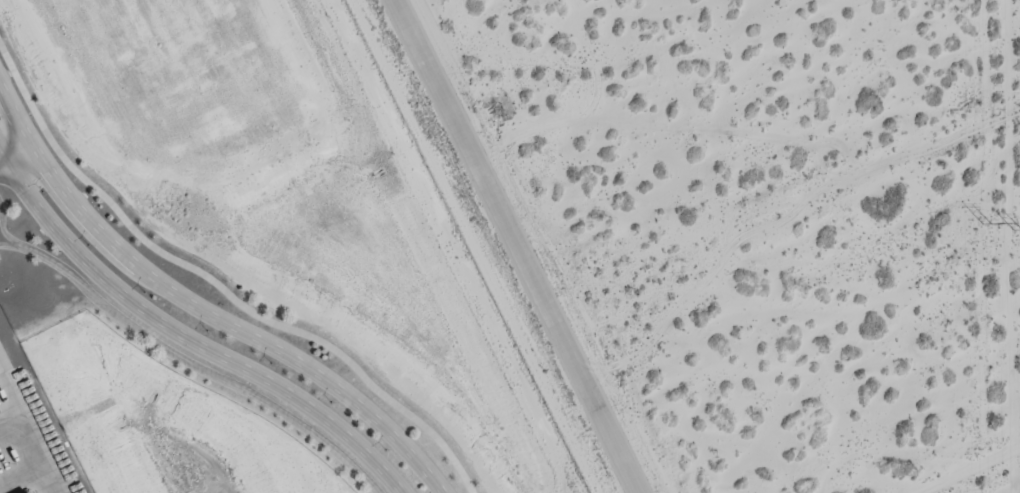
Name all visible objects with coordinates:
road: (16, 151)
road: (511, 246)
road: (202, 307)
road: (185, 341)

